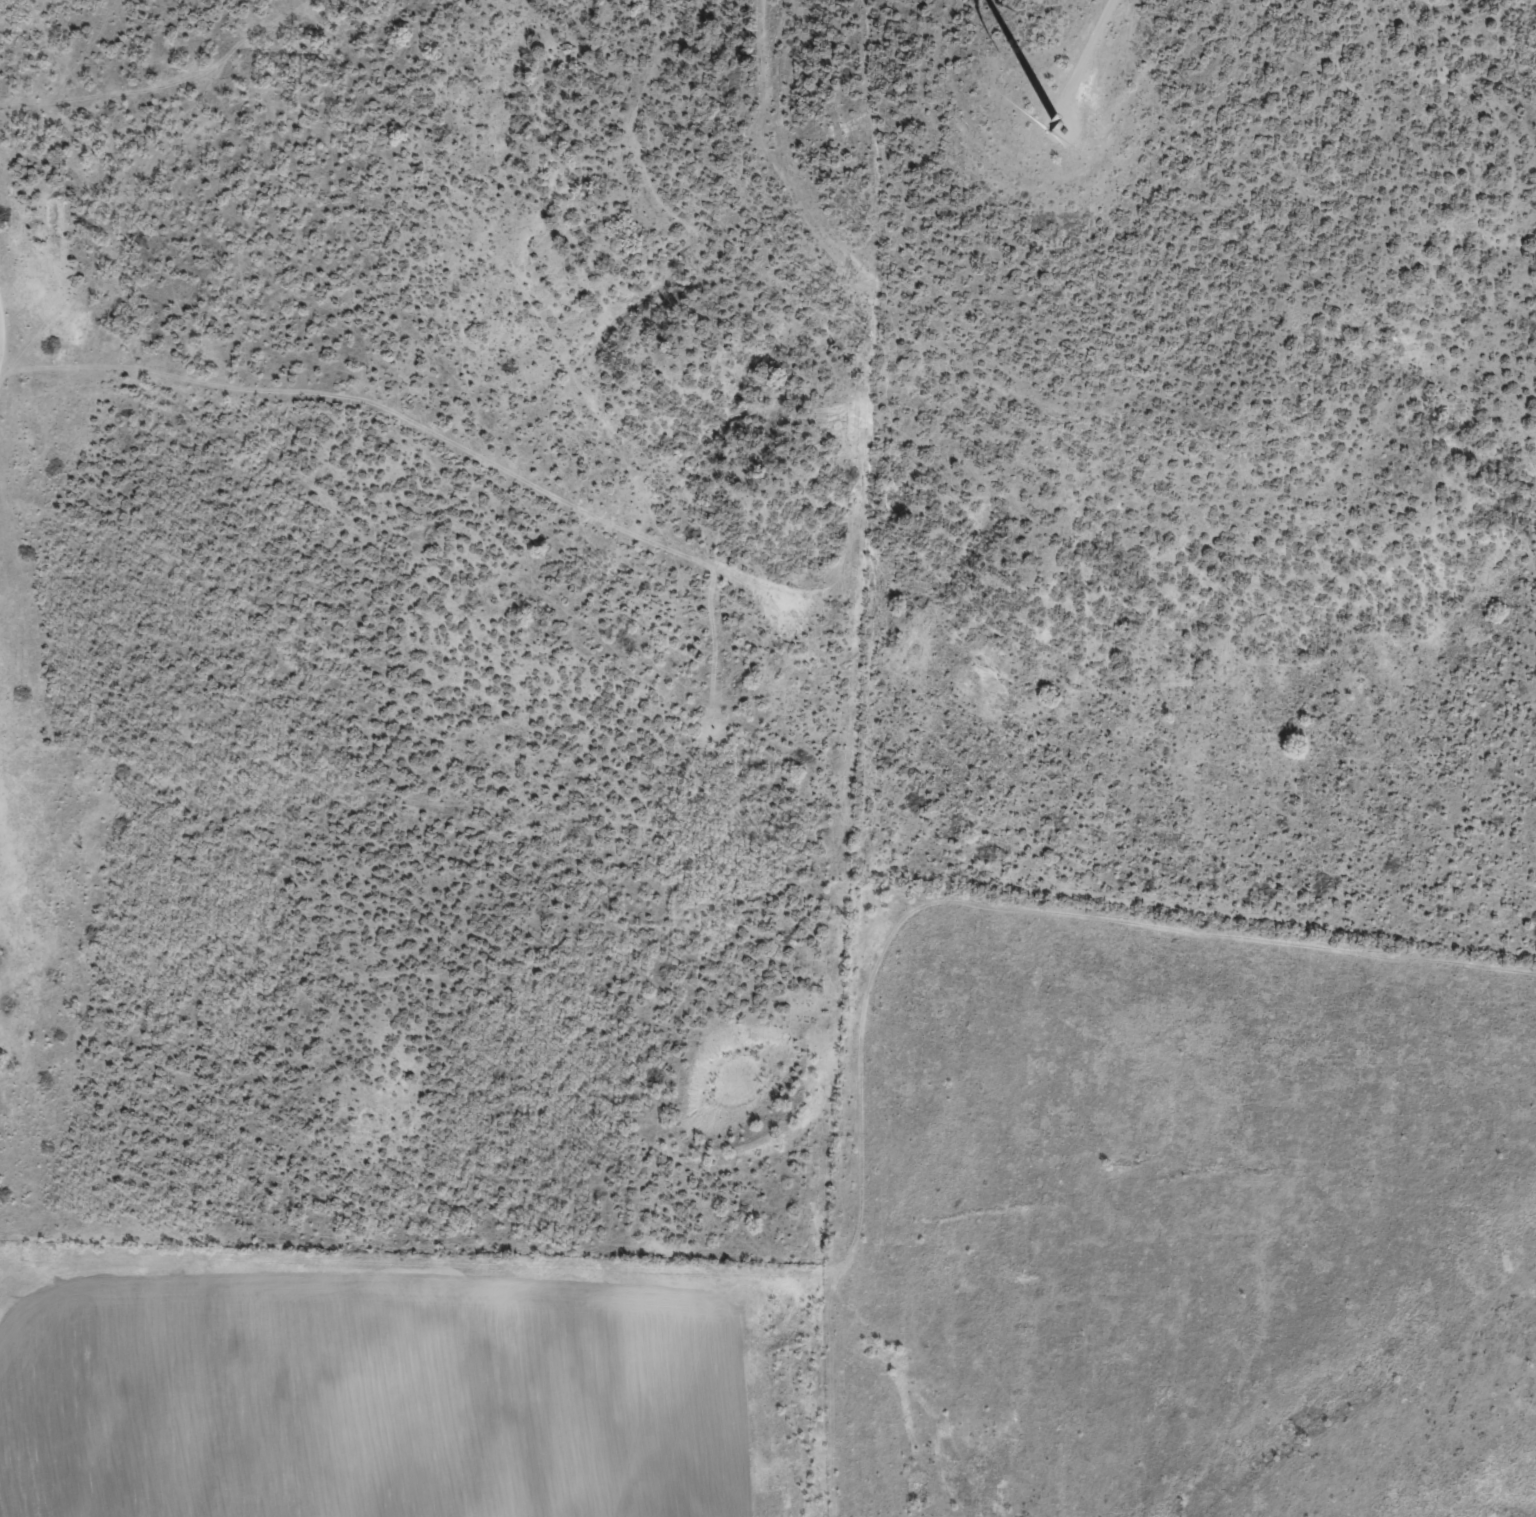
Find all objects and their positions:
wind turbine: (1056, 127)
road: (1, 335)

